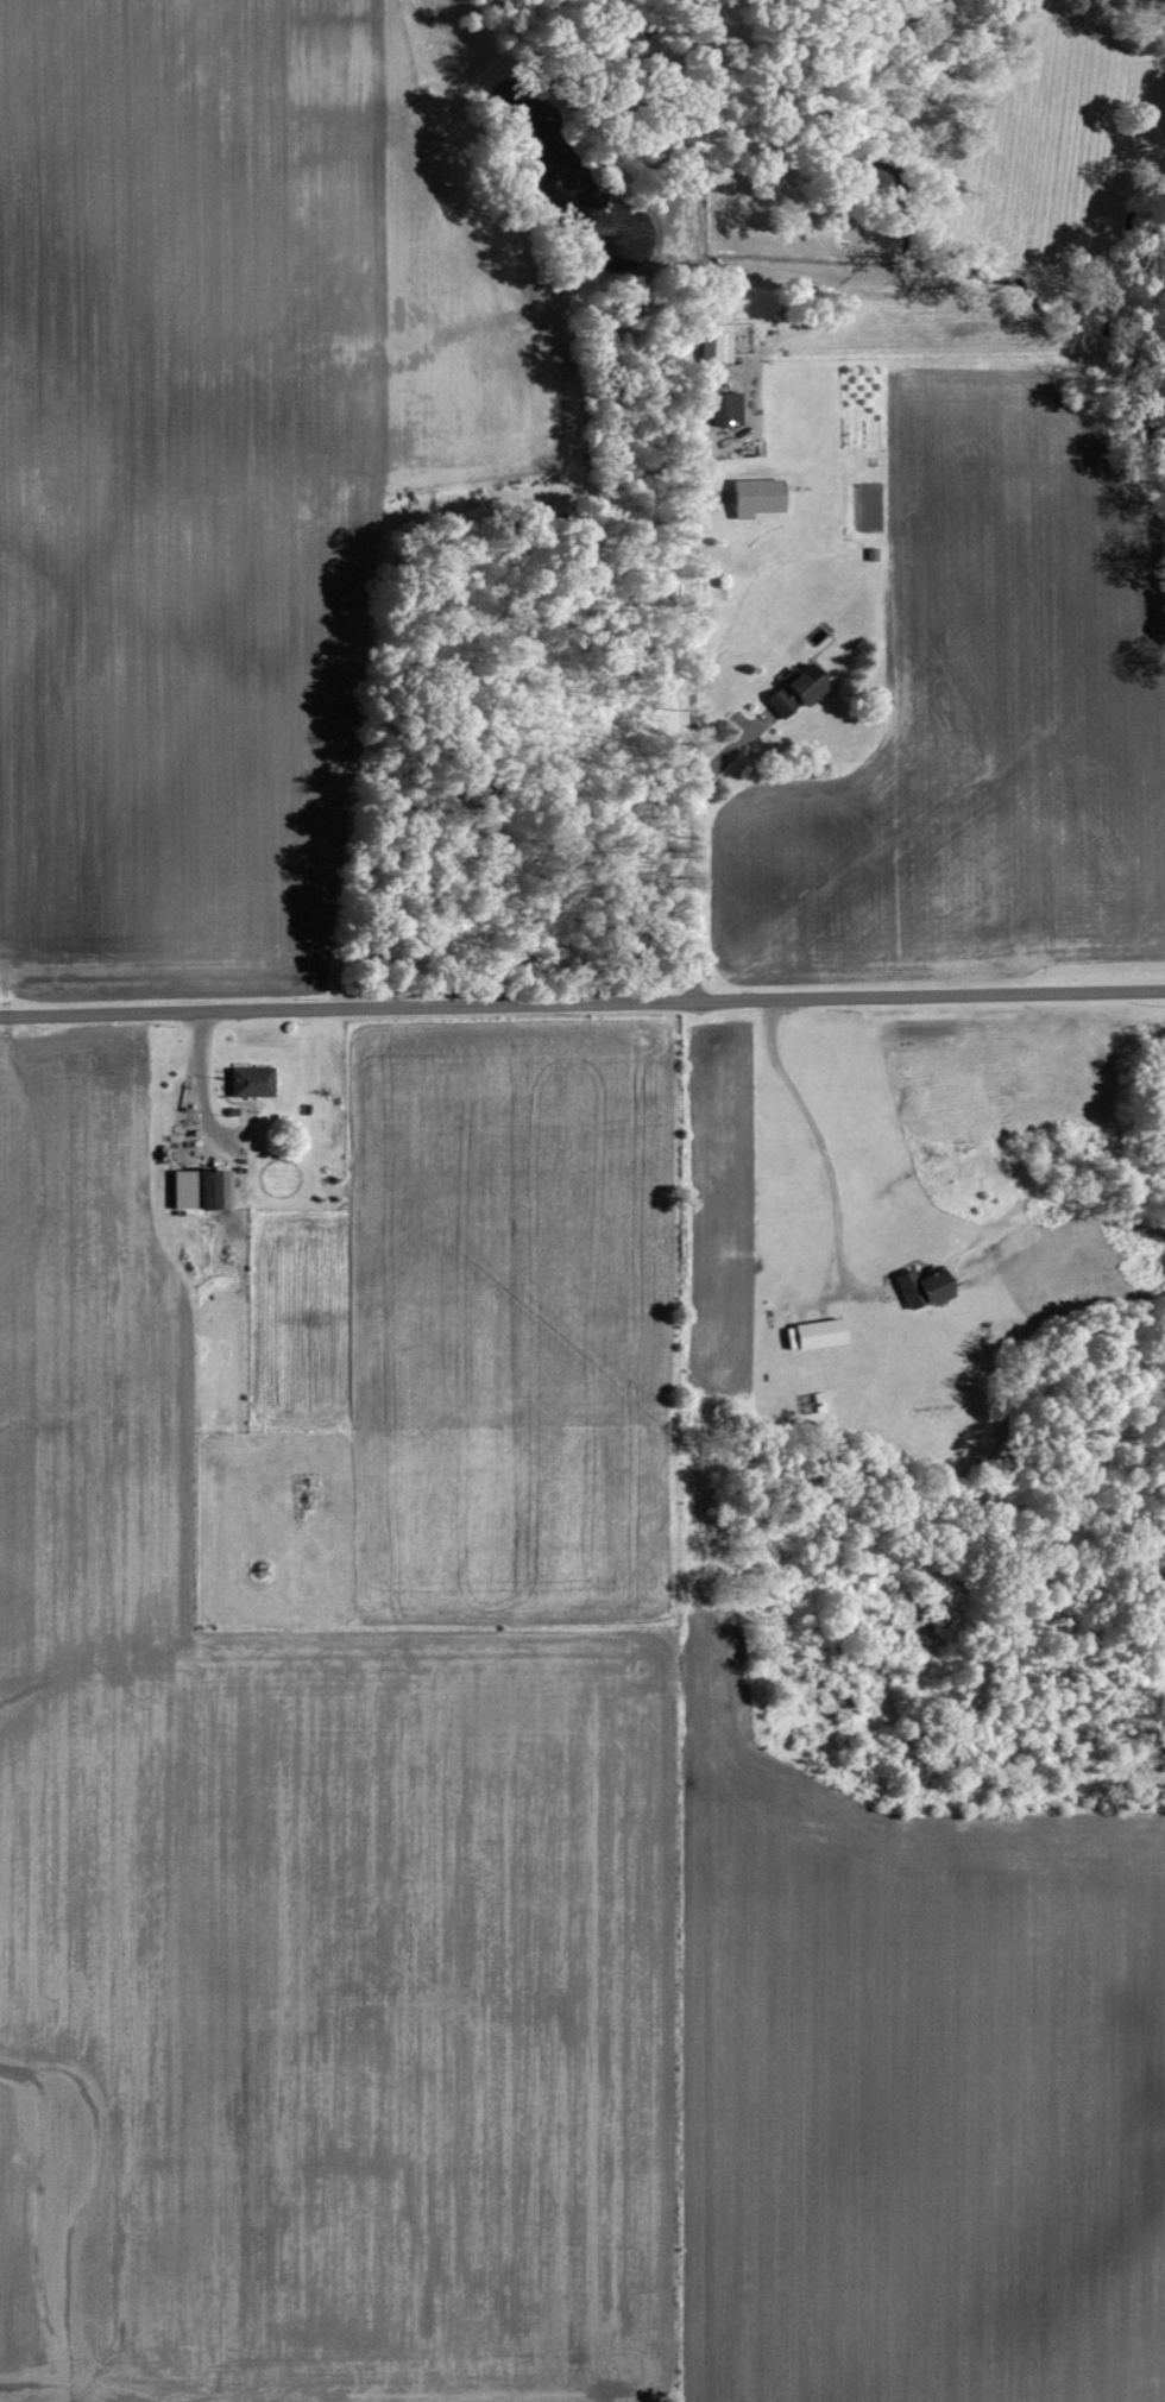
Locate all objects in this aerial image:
building: (710, 348)
building: (722, 408)
building: (751, 497)
building: (792, 693)
road: (689, 736)
road: (582, 1009)
building: (246, 1082)
road: (817, 1143)
building: (195, 1189)
building: (810, 1335)

